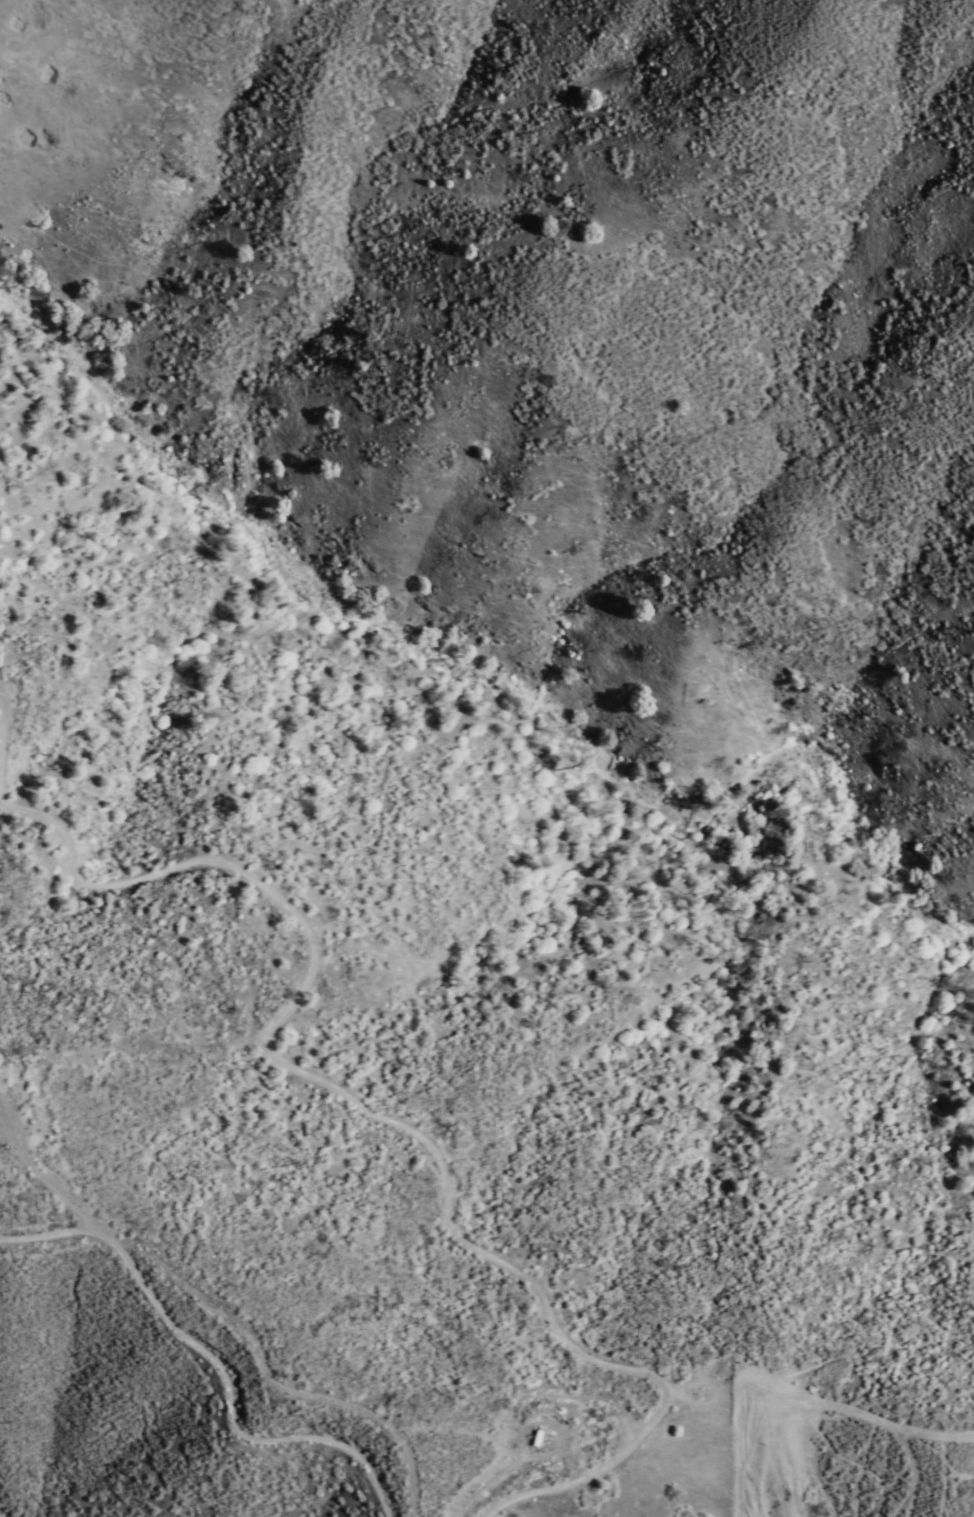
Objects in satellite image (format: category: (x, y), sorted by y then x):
road: (796, 1405)

